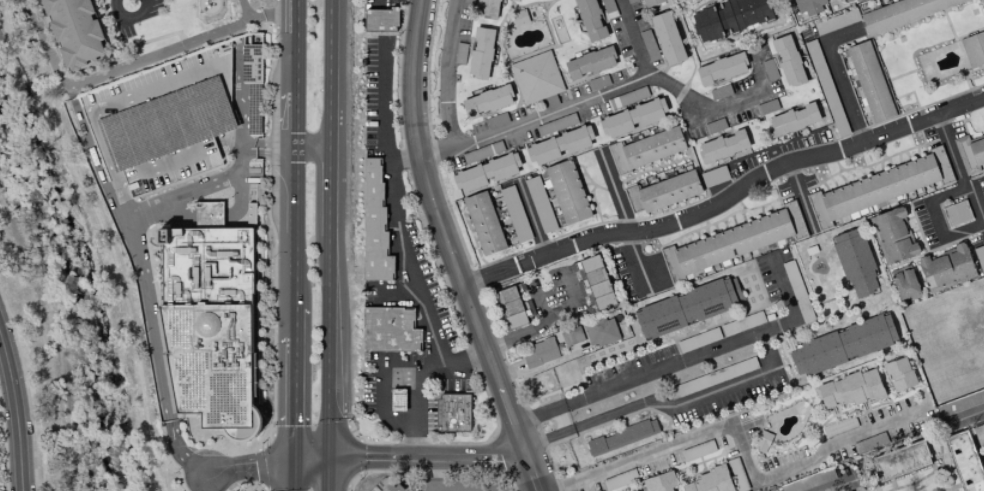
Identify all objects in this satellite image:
building: (980, 1)
building: (652, 2)
building: (809, 6)
building: (488, 8)
building: (903, 12)
building: (520, 17)
building: (730, 17)
building: (380, 20)
building: (590, 20)
building: (836, 21)
road: (130, 23)
building: (75, 31)
building: (667, 38)
building: (648, 45)
road: (297, 47)
building: (973, 49)
building: (460, 53)
building: (481, 53)
road: (137, 57)
building: (788, 61)
building: (590, 63)
road: (222, 65)
building: (254, 65)
building: (721, 69)
road: (331, 73)
road: (446, 73)
road: (840, 75)
building: (536, 77)
building: (598, 82)
building: (870, 82)
building: (826, 88)
road: (238, 89)
building: (632, 96)
building: (487, 101)
road: (570, 105)
road: (716, 107)
building: (631, 118)
building: (793, 120)
road: (297, 121)
building: (164, 125)
parking lot: (164, 125)
building: (556, 126)
building: (714, 126)
road: (228, 141)
road: (239, 142)
building: (559, 145)
building: (723, 146)
road: (268, 148)
road: (314, 148)
building: (646, 149)
road: (953, 150)
building: (970, 153)
building: (482, 154)
road: (405, 161)
road: (111, 165)
road: (154, 170)
building: (486, 173)
building: (714, 176)
road: (751, 185)
road: (240, 187)
building: (880, 187)
road: (297, 189)
building: (259, 191)
road: (330, 192)
building: (567, 192)
building: (663, 192)
building: (539, 204)
road: (976, 204)
building: (956, 212)
building: (209, 214)
building: (252, 214)
building: (515, 214)
road: (210, 216)
road: (162, 218)
road: (933, 220)
road: (405, 223)
building: (484, 223)
building: (374, 225)
building: (892, 236)
building: (732, 242)
road: (452, 249)
building: (979, 257)
road: (638, 263)
building: (855, 263)
building: (946, 268)
road: (296, 269)
road: (492, 276)
building: (595, 281)
building: (905, 285)
road: (404, 290)
road: (146, 292)
building: (797, 292)
road: (539, 302)
building: (512, 307)
building: (687, 308)
road: (555, 319)
road: (296, 322)
building: (742, 323)
building: (214, 324)
building: (389, 330)
building: (599, 331)
building: (571, 335)
building: (688, 343)
building: (843, 345)
road: (329, 347)
building: (540, 352)
road: (689, 359)
building: (899, 374)
building: (713, 377)
road: (25, 389)
building: (851, 389)
road: (295, 398)
road: (379, 399)
building: (397, 400)
road: (651, 400)
building: (960, 403)
road: (16, 412)
road: (965, 413)
building: (454, 414)
building: (830, 429)
building: (249, 430)
building: (622, 437)
road: (418, 438)
road: (745, 447)
building: (698, 450)
traffic signals: (328, 459)
road: (411, 459)
traffic signals: (294, 460)
building: (901, 461)
building: (965, 462)
road: (239, 468)
building: (737, 474)
road: (294, 475)
road: (328, 475)
road: (434, 475)
building: (620, 479)
building: (711, 481)
building: (660, 482)
building: (807, 482)
road: (483, 487)
road: (843, 487)

